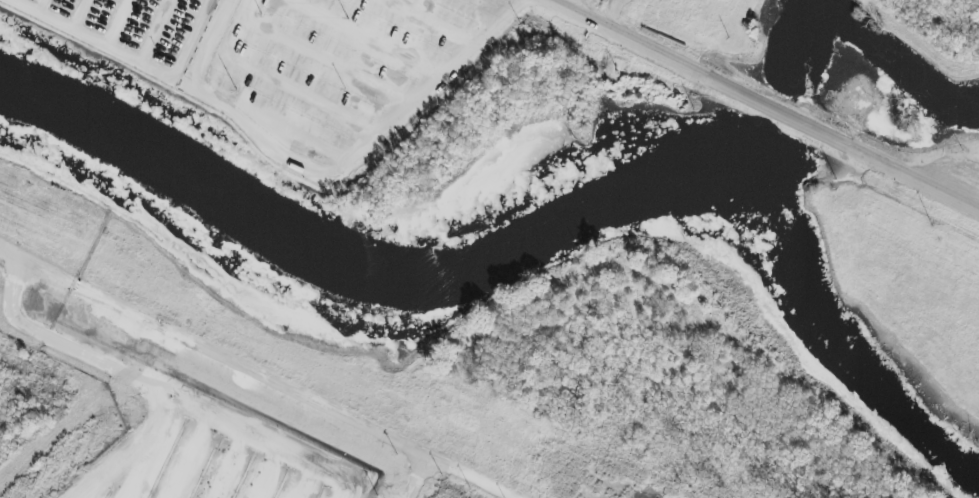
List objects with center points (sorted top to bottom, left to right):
road: (40, 3)
road: (575, 5)
road: (586, 5)
road: (76, 11)
road: (116, 20)
road: (153, 28)
road: (133, 53)
road: (783, 107)
road: (261, 370)
road: (142, 385)
road: (414, 474)

